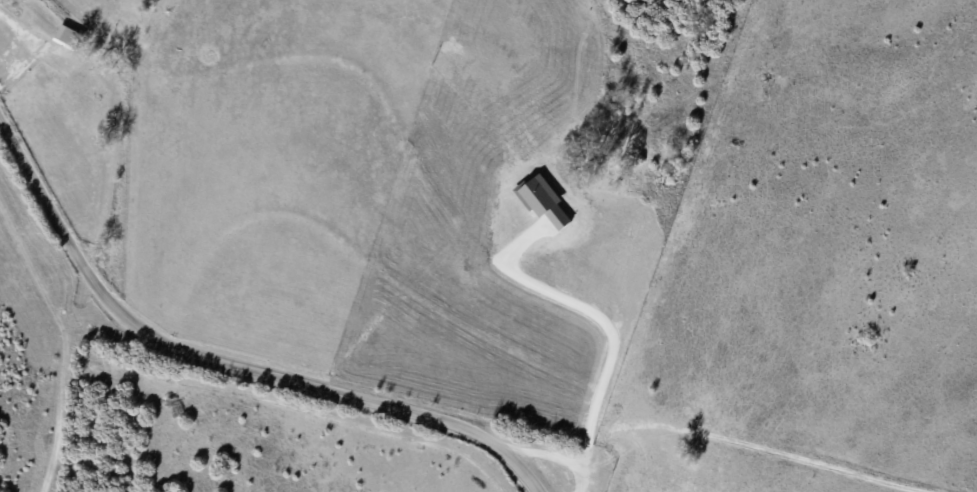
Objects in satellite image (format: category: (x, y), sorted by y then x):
building: (67, 35)
building: (86, 87)
road: (228, 361)

